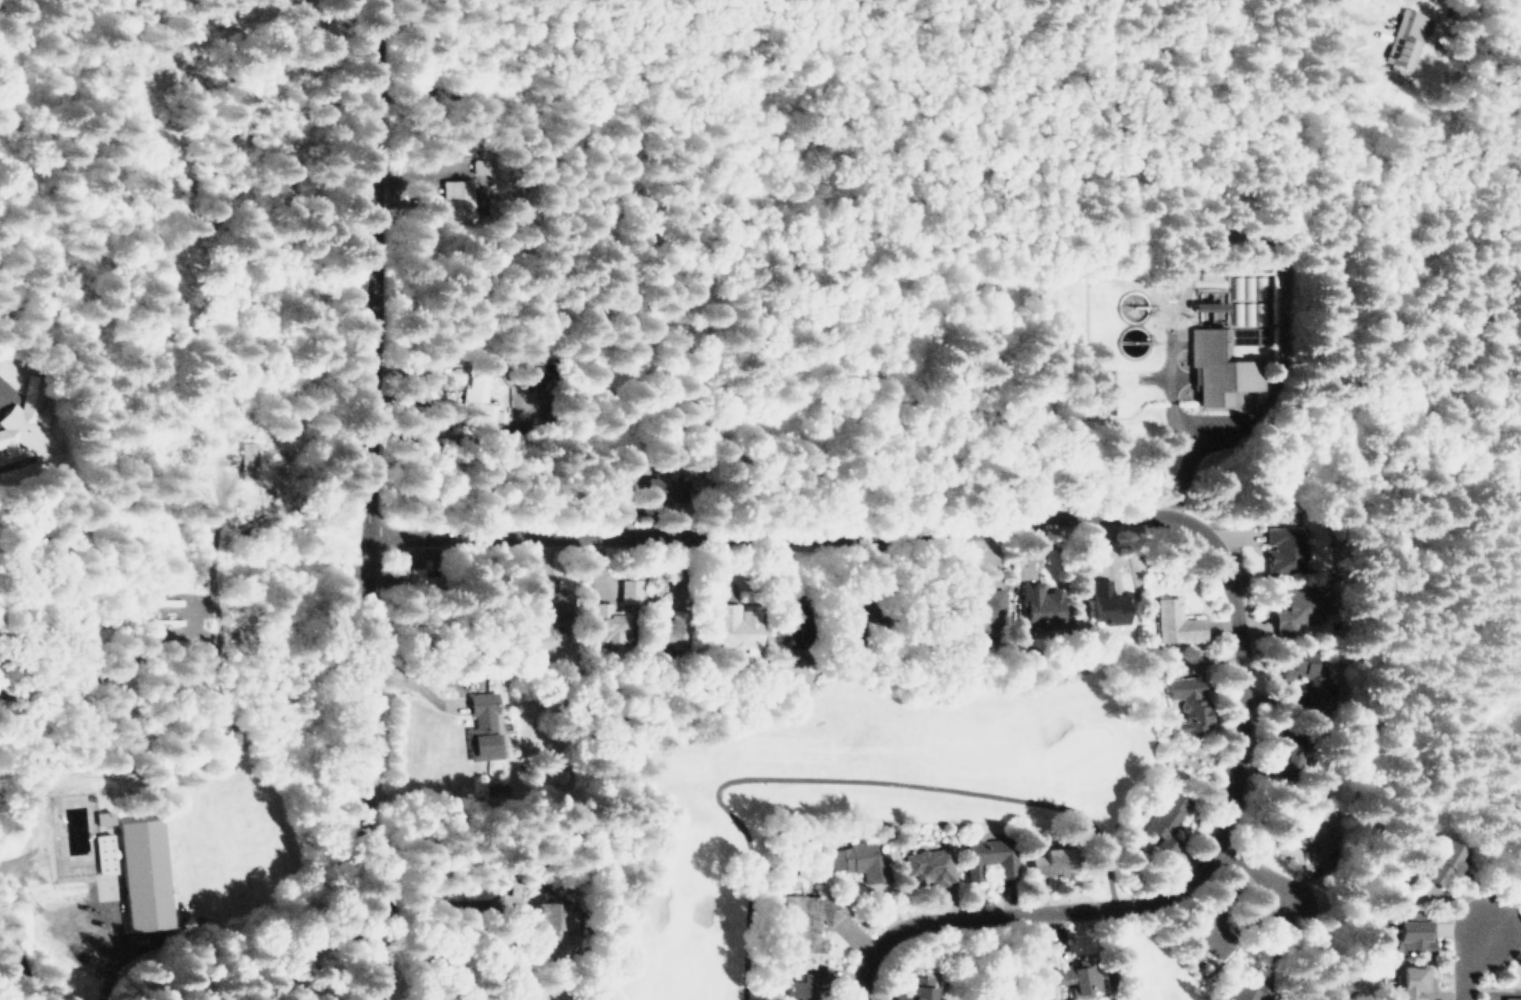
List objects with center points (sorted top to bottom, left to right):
road: (1328, 0)
road: (1510, 20)
building: (1403, 33)
building: (458, 197)
building: (1204, 306)
building: (1220, 368)
building: (536, 374)
building: (472, 393)
building: (515, 401)
road: (536, 417)
building: (26, 423)
building: (250, 461)
road: (1193, 462)
building: (664, 488)
road: (367, 500)
road: (1161, 520)
building: (1285, 550)
building: (429, 580)
building: (546, 602)
building: (1039, 604)
building: (1108, 604)
building: (1296, 605)
building: (981, 609)
building: (858, 611)
building: (614, 614)
building: (1178, 622)
building: (736, 625)
building: (805, 625)
building: (672, 628)
building: (1306, 673)
building: (1187, 698)
building: (481, 722)
building: (1288, 757)
park: (854, 798)
building: (105, 818)
building: (73, 819)
building: (1167, 820)
building: (1320, 839)
building: (989, 856)
building: (865, 859)
building: (1054, 860)
building: (1440, 860)
building: (931, 864)
road: (1253, 868)
building: (139, 872)
building: (811, 916)
building: (549, 928)
building: (1413, 930)
building: (1211, 932)
road: (1036, 956)
road: (1470, 962)
building: (1078, 976)
building: (1409, 982)
building: (803, 985)
building: (916, 986)
building: (1247, 991)
building: (1510, 998)

